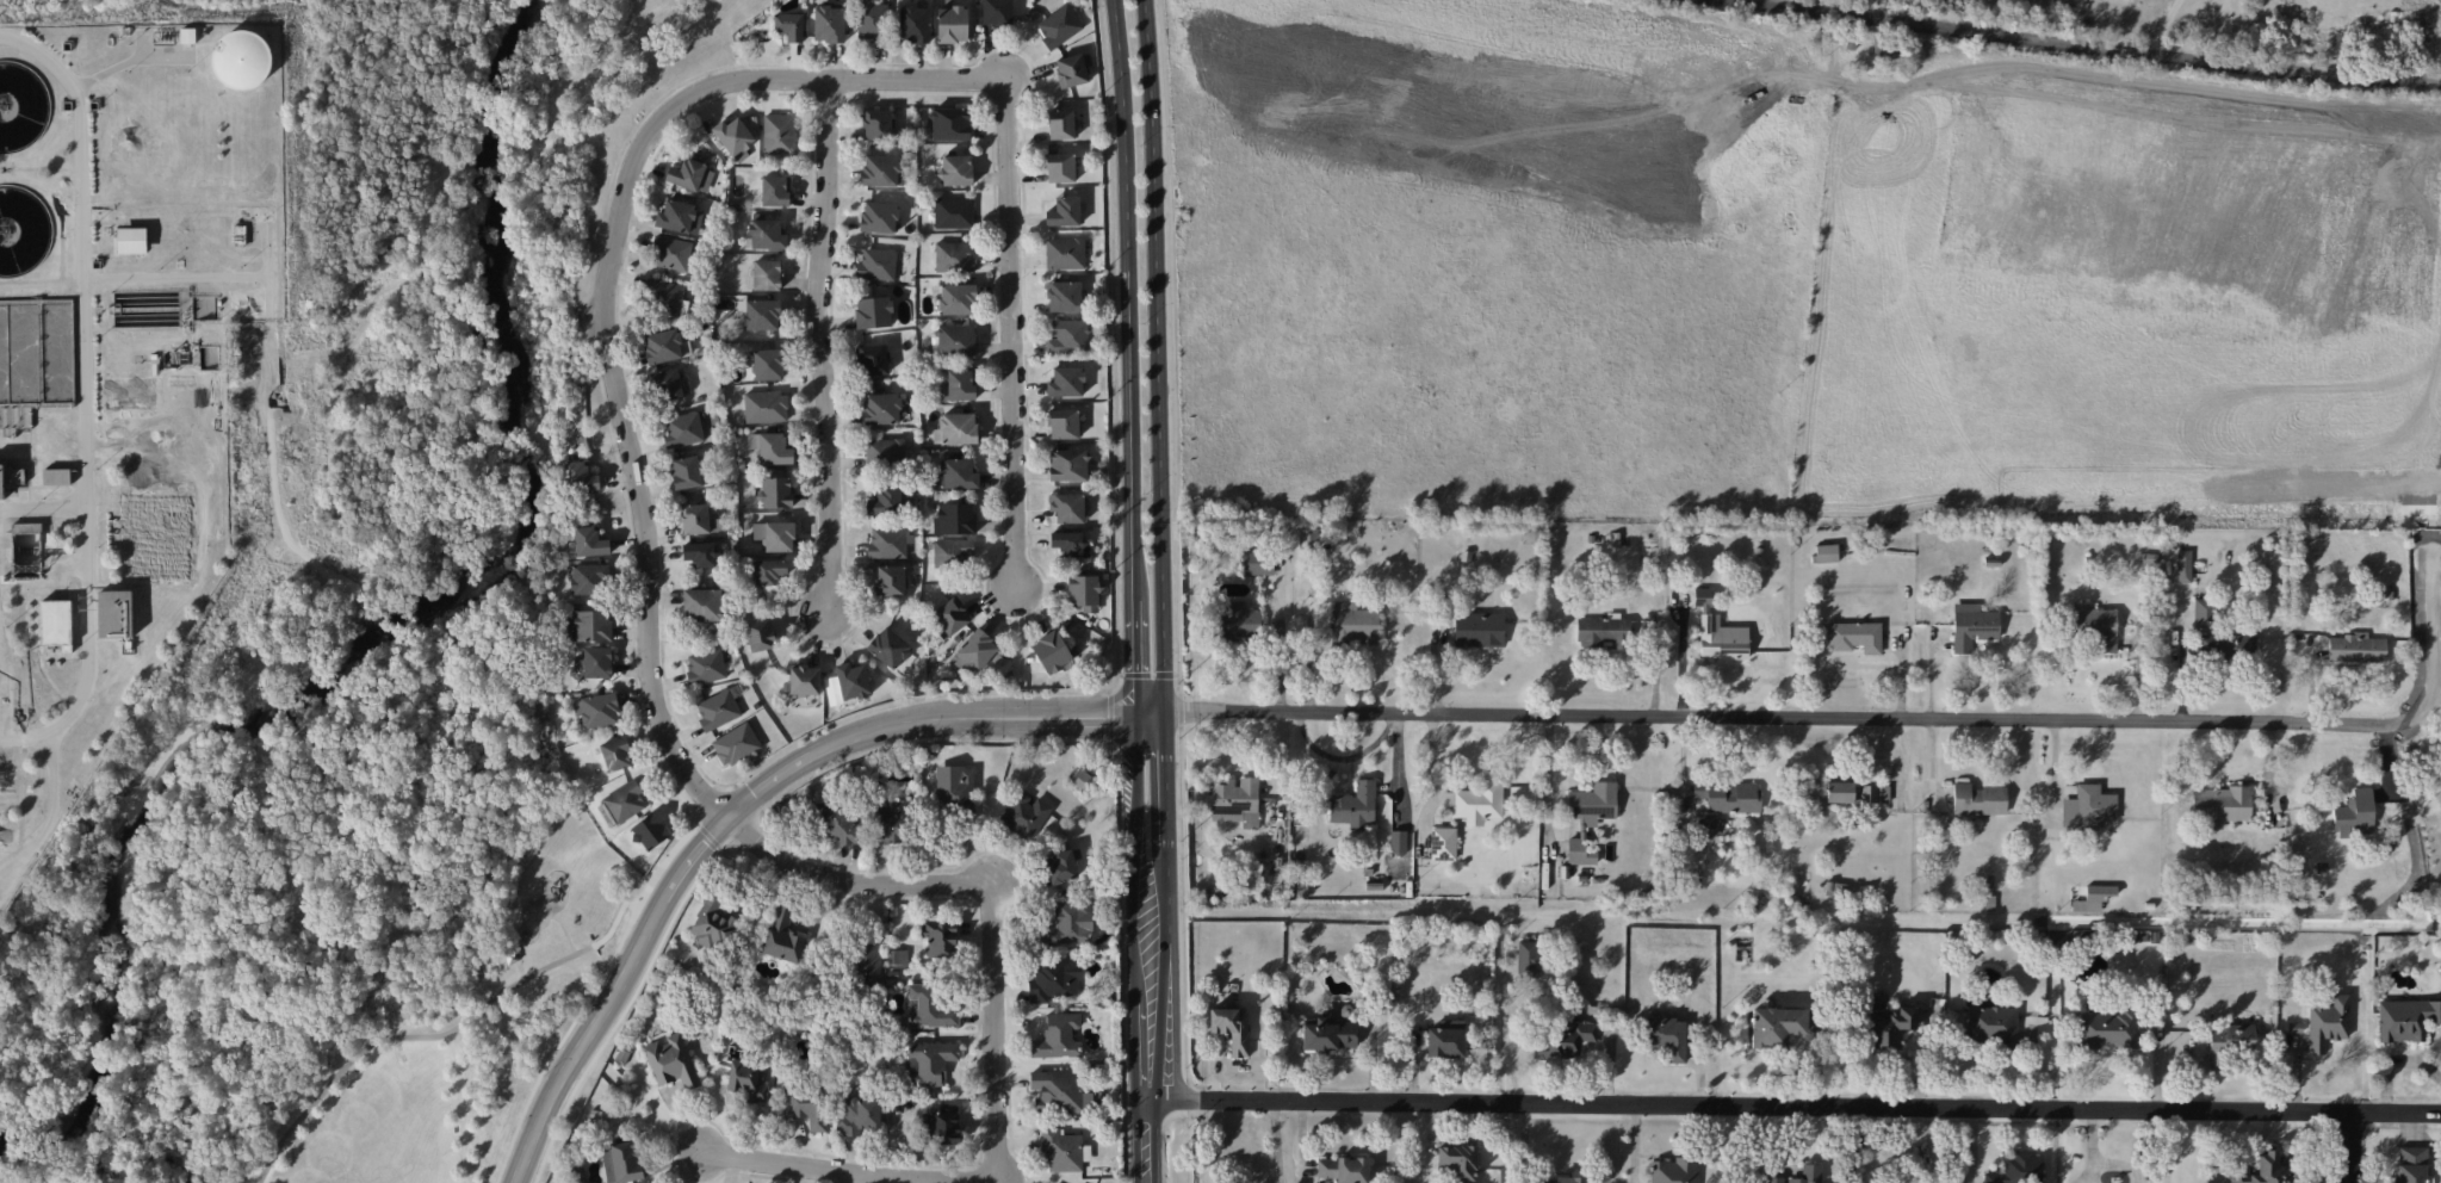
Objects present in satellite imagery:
building: (997, 12)
building: (872, 21)
building: (829, 23)
building: (913, 23)
building: (953, 24)
building: (789, 26)
building: (1059, 26)
road: (2081, 45)
building: (242, 60)
building: (1072, 69)
building: (950, 123)
building: (876, 124)
building: (1061, 124)
building: (779, 134)
building: (735, 138)
building: (1060, 167)
building: (956, 169)
building: (880, 171)
building: (692, 175)
building: (775, 190)
building: (1064, 211)
building: (954, 212)
building: (680, 217)
building: (879, 217)
building: (767, 234)
building: (132, 240)
building: (671, 253)
building: (1065, 253)
building: (953, 256)
building: (876, 264)
crop: (1785, 271)
building: (766, 274)
road: (176, 277)
building: (664, 296)
building: (1064, 296)
building: (958, 299)
building: (874, 312)
building: (762, 314)
building: (1068, 337)
building: (956, 340)
road: (820, 343)
building: (663, 346)
building: (872, 360)
building: (769, 364)
wastewater plant: (119, 367)
building: (1066, 382)
building: (667, 384)
building: (959, 385)
road: (86, 395)
building: (766, 407)
building: (882, 408)
building: (1064, 423)
building: (956, 428)
building: (682, 429)
building: (772, 447)
building: (885, 452)
building: (1068, 465)
building: (686, 472)
building: (956, 473)
building: (57, 476)
building: (580, 476)
building: (2, 481)
road: (638, 481)
building: (776, 491)
building: (886, 500)
road: (43, 507)
building: (1067, 507)
building: (698, 519)
building: (955, 519)
building: (775, 534)
building: (1308, 538)
building: (590, 541)
building: (887, 543)
building: (1070, 543)
building: (952, 552)
building: (701, 553)
building: (1826, 553)
building: (1257, 562)
building: (2183, 565)
building: (769, 571)
building: (590, 578)
building: (890, 580)
road: (1142, 590)
building: (1084, 591)
building: (702, 605)
building: (116, 613)
building: (2204, 613)
building: (949, 617)
building: (1239, 621)
building: (56, 624)
building: (1353, 624)
building: (594, 625)
building: (1972, 626)
building: (1479, 628)
building: (1603, 632)
building: (1718, 632)
building: (760, 634)
building: (1854, 637)
building: (888, 648)
building: (2226, 648)
building: (2355, 649)
building: (974, 651)
building: (1053, 651)
building: (597, 662)
building: (706, 667)
building: (804, 680)
building: (853, 681)
road: (5, 687)
building: (597, 710)
building: (718, 710)
road: (1864, 718)
road: (921, 720)
building: (736, 744)
building: (617, 754)
road: (1549, 776)
building: (2440, 778)
building: (956, 791)
building: (1851, 793)
building: (1730, 798)
building: (1978, 799)
building: (1235, 800)
building: (625, 801)
building: (1475, 803)
building: (2220, 803)
building: (1593, 804)
building: (1355, 805)
road: (51, 809)
building: (606, 815)
building: (1026, 816)
building: (2353, 816)
building: (894, 822)
building: (837, 823)
building: (1706, 828)
building: (650, 831)
building: (1398, 842)
building: (1443, 843)
building: (1580, 853)
building: (1061, 866)
building: (1834, 888)
building: (1070, 923)
building: (713, 924)
road: (564, 931)
building: (783, 935)
building: (938, 939)
building: (898, 956)
building: (1529, 959)
building: (866, 966)
building: (1054, 979)
road: (613, 997)
road: (484, 1002)
building: (930, 1007)
building: (2405, 1018)
building: (2327, 1023)
building: (1776, 1027)
building: (1890, 1027)
building: (1993, 1027)
building: (1232, 1028)
building: (2107, 1029)
building: (1330, 1035)
park: (459, 1036)
building: (1057, 1036)
building: (1666, 1036)
building: (1446, 1039)
building: (1562, 1039)
road: (559, 1041)
building: (2229, 1042)
building: (671, 1061)
building: (931, 1063)
building: (748, 1080)
building: (1059, 1092)
road: (459, 1107)
building: (806, 1107)
road: (1796, 1107)
building: (857, 1115)
building: (941, 1125)
road: (1276, 1142)
road: (2354, 1148)
building: (1061, 1150)
building: (624, 1162)
building: (1458, 1162)
building: (2411, 1164)
building: (2018, 1167)
building: (1344, 1169)
building: (1674, 1170)
building: (1811, 1170)
building: (2265, 1170)
building: (577, 1173)
building: (1560, 1179)

